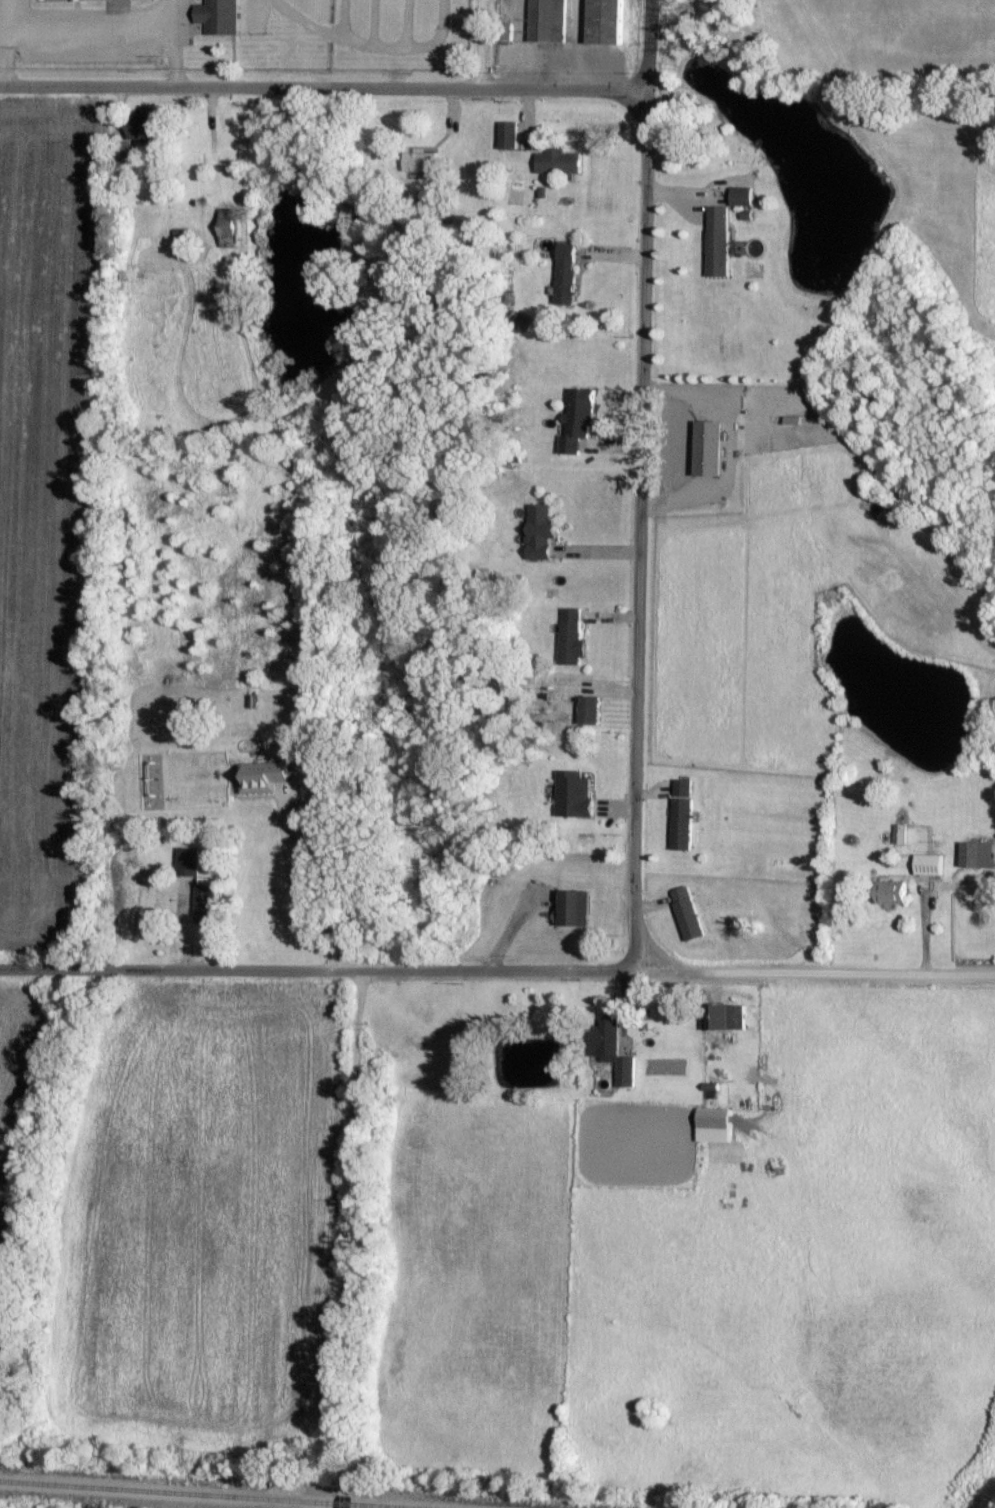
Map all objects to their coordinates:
building: (218, 15)
building: (548, 20)
building: (607, 22)
parking lot: (379, 26)
road: (87, 32)
parking lot: (83, 35)
road: (5, 41)
road: (174, 42)
road: (481, 43)
road: (319, 84)
building: (144, 129)
building: (509, 133)
building: (421, 160)
building: (559, 160)
building: (742, 194)
building: (229, 226)
building: (719, 239)
building: (565, 272)
building: (579, 418)
building: (712, 446)
road: (640, 484)
building: (541, 530)
building: (572, 635)
building: (590, 708)
building: (265, 775)
building: (574, 793)
building: (683, 813)
building: (900, 832)
building: (979, 853)
building: (190, 860)
building: (930, 863)
road: (295, 889)
building: (893, 891)
building: (207, 903)
building: (575, 906)
building: (689, 912)
road: (314, 967)
road: (812, 972)
building: (613, 1049)
building: (715, 1123)
railway: (200, 1494)

